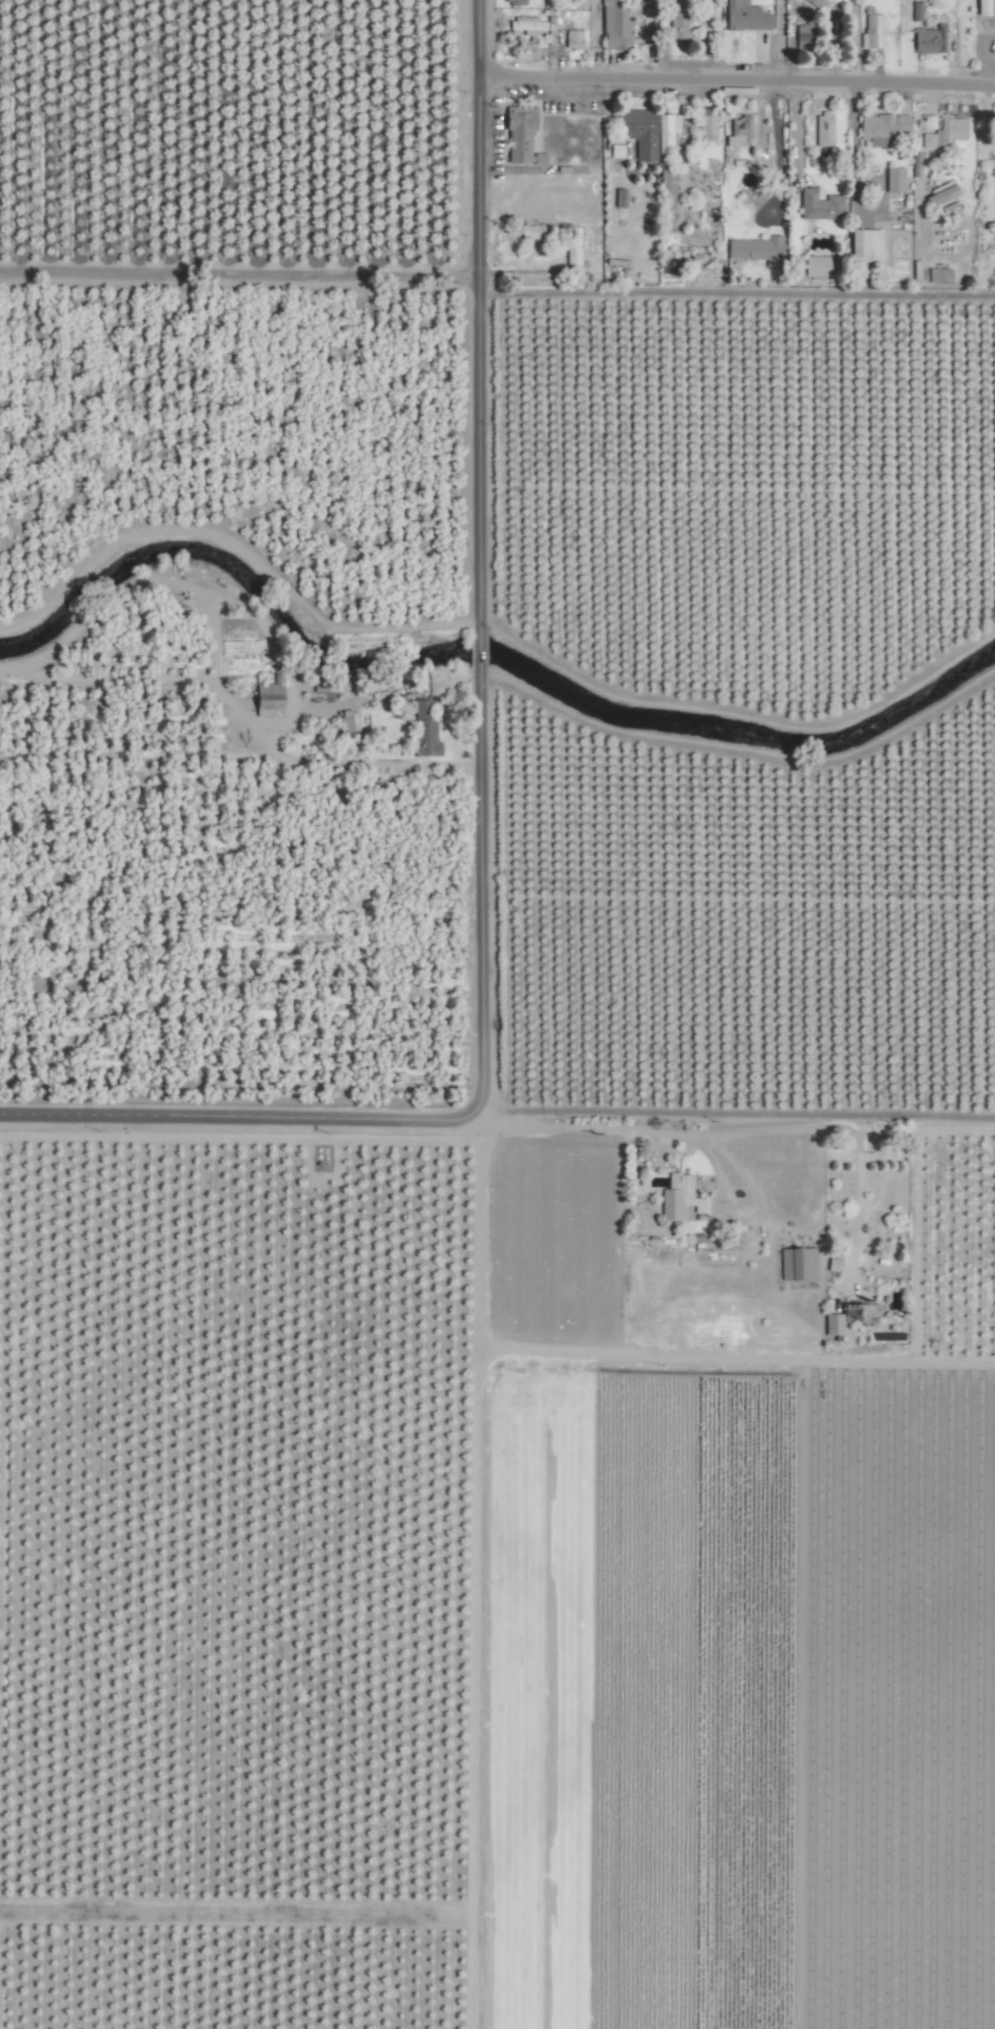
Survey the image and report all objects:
building: (823, 1)
building: (979, 7)
building: (914, 11)
building: (743, 16)
building: (675, 25)
building: (523, 26)
building: (613, 27)
building: (870, 32)
building: (571, 39)
road: (594, 39)
building: (927, 40)
road: (777, 43)
road: (736, 83)
building: (926, 122)
building: (707, 128)
building: (880, 128)
building: (822, 129)
building: (666, 131)
building: (638, 132)
building: (738, 132)
building: (517, 133)
building: (943, 133)
road: (794, 136)
road: (477, 137)
building: (612, 152)
road: (776, 154)
building: (537, 159)
building: (892, 179)
road: (853, 189)
building: (938, 195)
building: (617, 198)
building: (817, 205)
building: (940, 211)
building: (525, 231)
building: (862, 245)
building: (575, 246)
building: (754, 250)
building: (814, 266)
road: (238, 274)
building: (938, 275)
road: (477, 453)
road: (478, 648)
building: (273, 698)
building: (351, 721)
building: (425, 733)
road: (479, 886)
crop: (497, 1014)
road: (83, 1114)
road: (272, 1117)
road: (430, 1119)
road: (720, 1130)
building: (677, 1199)
road: (746, 1214)
building: (795, 1264)
building: (831, 1265)
building: (845, 1318)

